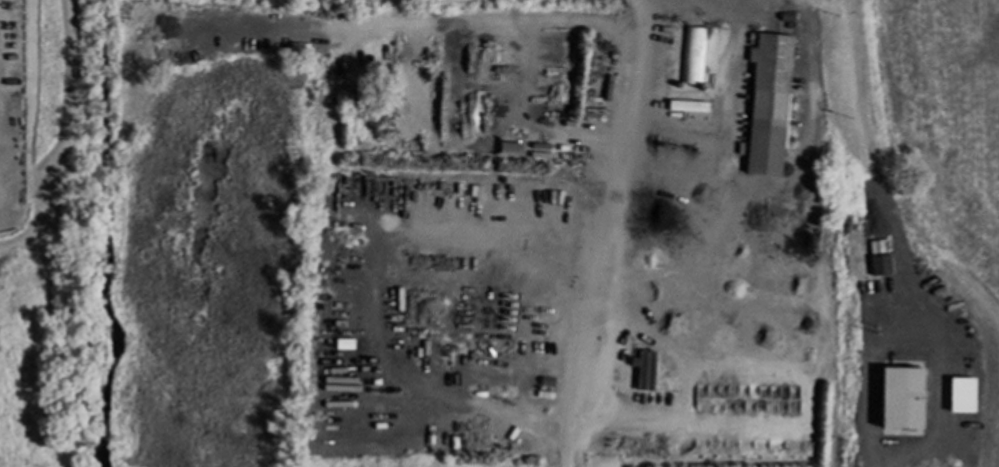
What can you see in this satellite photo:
building: (693, 55)
building: (769, 102)
building: (688, 105)
road: (895, 232)
road: (606, 233)
building: (881, 264)
building: (644, 369)
building: (902, 397)

